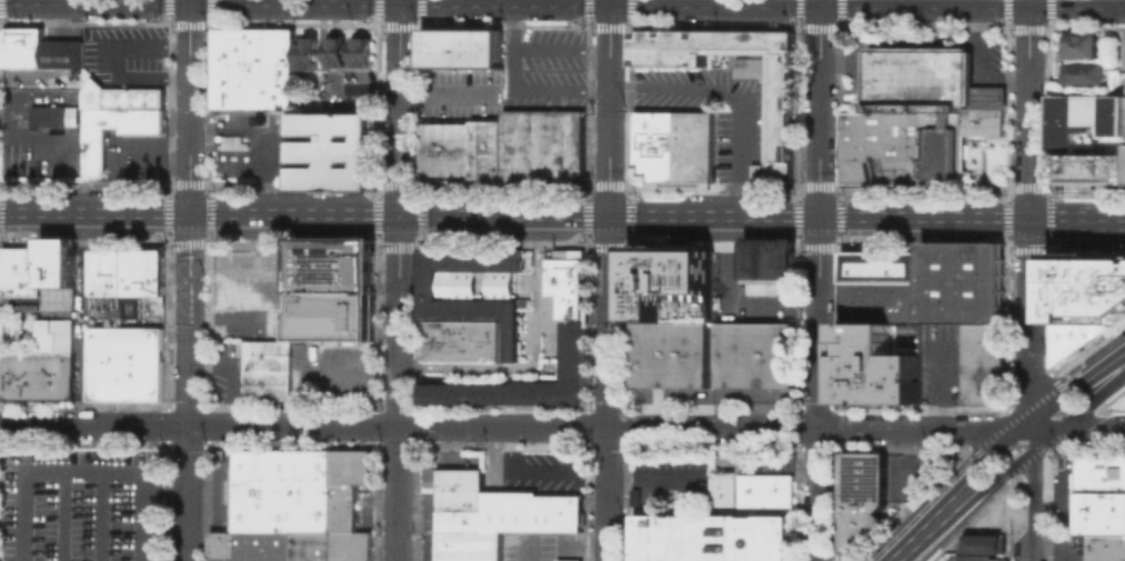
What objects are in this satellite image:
road: (74, 2)
traffic signals: (190, 4)
traffic signals: (400, 6)
road: (562, 6)
traffic signals: (611, 7)
traffic signals: (820, 8)
traffic signals: (1031, 9)
parking lot: (62, 31)
building: (229, 37)
building: (1083, 44)
building: (39, 48)
building: (461, 48)
building: (335, 50)
building: (361, 50)
building: (307, 51)
parking lot: (127, 53)
building: (229, 57)
building: (259, 72)
building: (1087, 72)
parking lot: (511, 79)
parking lot: (344, 90)
road: (443, 94)
building: (121, 96)
road: (731, 98)
building: (936, 102)
road: (190, 107)
road: (399, 107)
road: (610, 107)
road: (820, 108)
road: (1029, 109)
parking lot: (713, 111)
building: (780, 113)
building: (56, 114)
building: (1087, 117)
building: (862, 120)
parking lot: (39, 134)
road: (267, 136)
building: (862, 138)
building: (333, 141)
building: (542, 142)
building: (673, 146)
building: (460, 148)
building: (893, 148)
building: (912, 148)
building: (92, 151)
parking lot: (131, 154)
parking lot: (260, 157)
building: (851, 166)
building: (872, 166)
building: (1088, 171)
building: (301, 179)
building: (319, 179)
building: (346, 179)
building: (364, 179)
traffic signals: (189, 214)
traffic signals: (399, 216)
road: (514, 216)
traffic signals: (610, 216)
traffic signals: (820, 217)
traffic signals: (1029, 218)
road: (1076, 220)
road: (210, 227)
road: (375, 228)
road: (251, 240)
road: (21, 241)
road: (332, 241)
road: (374, 241)
road: (378, 241)
road: (389, 241)
road: (58, 242)
road: (188, 242)
road: (120, 243)
building: (318, 249)
building: (345, 249)
building: (364, 249)
building: (59, 251)
building: (767, 261)
parking lot: (249, 262)
road: (80, 263)
road: (251, 264)
building: (884, 266)
building: (151, 270)
building: (56, 272)
building: (329, 274)
building: (106, 279)
building: (33, 280)
building: (669, 281)
building: (966, 284)
building: (131, 285)
building: (562, 288)
building: (1088, 288)
building: (884, 302)
building: (469, 311)
building: (333, 315)
road: (1029, 318)
building: (1072, 339)
building: (461, 342)
building: (669, 353)
building: (754, 354)
road: (532, 358)
building: (56, 359)
building: (884, 362)
building: (125, 363)
building: (983, 364)
road: (1118, 367)
building: (267, 369)
parking lot: (221, 370)
parking lot: (332, 370)
road: (351, 372)
building: (19, 374)
road: (81, 374)
road: (229, 375)
road: (942, 382)
road: (189, 388)
road: (398, 388)
road: (609, 388)
road: (818, 388)
road: (1071, 389)
road: (1105, 393)
road: (1075, 403)
road: (1074, 418)
road: (1027, 423)
road: (1035, 423)
road: (509, 428)
road: (1027, 429)
road: (1048, 429)
road: (1093, 429)
road: (1036, 438)
road: (1048, 438)
road: (112, 445)
road: (983, 454)
building: (934, 462)
road: (86, 464)
road: (993, 464)
building: (766, 465)
road: (536, 468)
parking lot: (541, 469)
road: (1003, 473)
building: (348, 485)
building: (280, 490)
building: (753, 490)
building: (1099, 491)
building: (863, 495)
building: (460, 498)
parking lot: (80, 503)
road: (1037, 503)
road: (952, 508)
building: (531, 510)
road: (71, 512)
road: (102, 512)
building: (709, 537)
road: (916, 542)
building: (985, 542)
building: (250, 544)
building: (331, 545)
building: (469, 545)
parking lot: (528, 545)
building: (1104, 547)
road: (529, 550)
building: (975, 558)
building: (567, 560)
road: (1027, 560)

